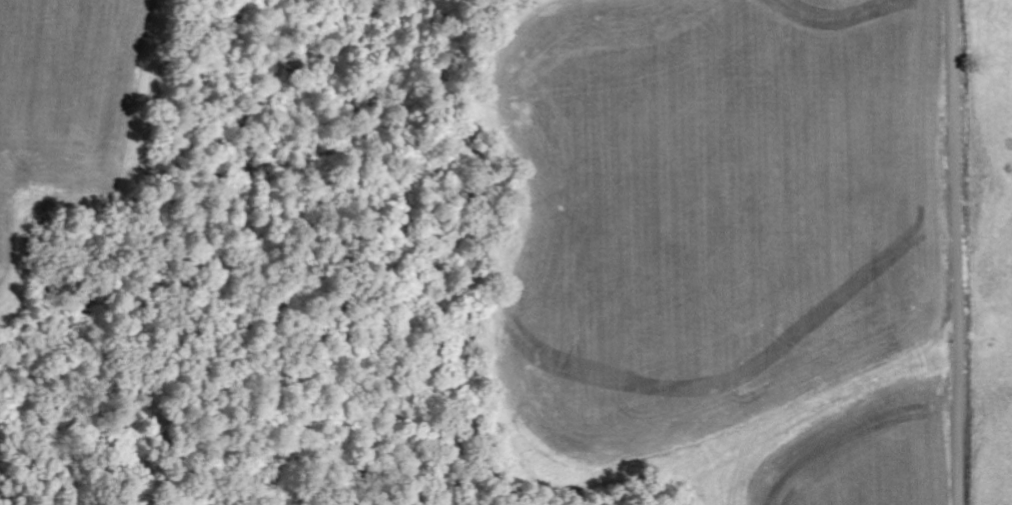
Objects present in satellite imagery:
road: (959, 252)

